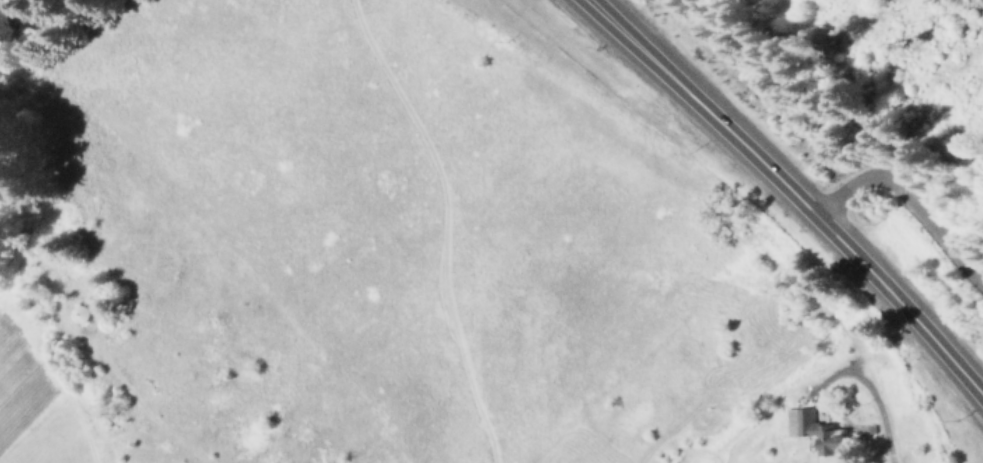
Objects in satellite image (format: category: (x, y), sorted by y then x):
road: (904, 190)
road: (784, 192)
crop: (420, 206)
crop: (40, 391)
building: (818, 432)

